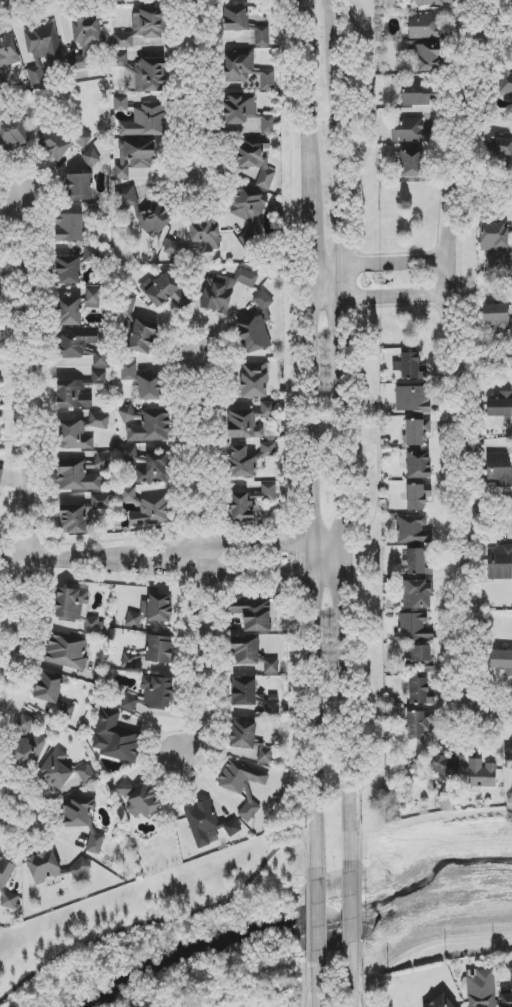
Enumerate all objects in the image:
building: (434, 3)
building: (511, 11)
building: (236, 19)
building: (431, 26)
building: (142, 27)
building: (262, 36)
road: (493, 36)
road: (342, 38)
building: (85, 40)
building: (43, 51)
building: (428, 58)
building: (7, 60)
building: (121, 60)
building: (246, 70)
building: (150, 76)
building: (506, 83)
road: (187, 87)
road: (309, 87)
building: (415, 93)
building: (120, 104)
building: (240, 112)
building: (145, 122)
building: (268, 124)
building: (412, 131)
building: (11, 136)
building: (81, 138)
building: (55, 144)
building: (499, 148)
building: (134, 157)
building: (91, 158)
building: (256, 159)
building: (411, 162)
building: (80, 187)
road: (480, 192)
building: (127, 198)
road: (4, 201)
building: (95, 213)
building: (247, 214)
building: (153, 217)
building: (69, 228)
building: (204, 235)
road: (310, 235)
building: (493, 237)
building: (176, 250)
building: (92, 255)
road: (378, 263)
building: (68, 270)
building: (0, 277)
building: (246, 278)
building: (166, 292)
road: (380, 293)
building: (218, 295)
building: (93, 298)
road: (342, 308)
building: (70, 312)
building: (496, 316)
building: (136, 327)
building: (256, 328)
building: (76, 342)
road: (455, 354)
building: (100, 359)
building: (409, 366)
road: (484, 366)
building: (129, 371)
building: (99, 377)
building: (254, 380)
building: (149, 387)
building: (73, 395)
building: (412, 399)
building: (501, 406)
building: (267, 409)
building: (128, 414)
building: (98, 420)
building: (243, 425)
building: (151, 428)
building: (417, 432)
road: (15, 433)
building: (73, 435)
building: (268, 450)
building: (101, 462)
building: (242, 463)
building: (418, 465)
building: (151, 468)
building: (498, 468)
building: (0, 472)
building: (77, 476)
building: (127, 494)
building: (418, 496)
building: (100, 502)
building: (249, 503)
building: (152, 512)
building: (72, 516)
road: (486, 519)
building: (412, 530)
road: (251, 542)
road: (78, 556)
building: (417, 562)
building: (499, 563)
road: (202, 564)
road: (251, 572)
road: (320, 585)
building: (417, 595)
road: (350, 604)
building: (76, 609)
building: (151, 611)
building: (254, 613)
building: (413, 628)
building: (159, 649)
building: (245, 651)
building: (67, 652)
building: (421, 656)
building: (128, 661)
building: (501, 662)
building: (270, 666)
building: (49, 687)
building: (157, 692)
building: (244, 692)
building: (419, 692)
building: (130, 703)
building: (272, 705)
road: (492, 714)
building: (419, 724)
building: (243, 735)
building: (115, 738)
building: (26, 745)
building: (265, 755)
building: (508, 759)
building: (446, 765)
building: (56, 769)
road: (351, 770)
building: (86, 774)
building: (481, 774)
building: (138, 800)
building: (78, 812)
road: (13, 816)
building: (207, 824)
building: (95, 844)
building: (43, 867)
building: (80, 868)
building: (5, 872)
building: (10, 901)
road: (352, 913)
road: (319, 919)
road: (162, 921)
park: (169, 938)
road: (425, 944)
road: (352, 981)
road: (319, 985)
building: (481, 988)
building: (439, 1001)

